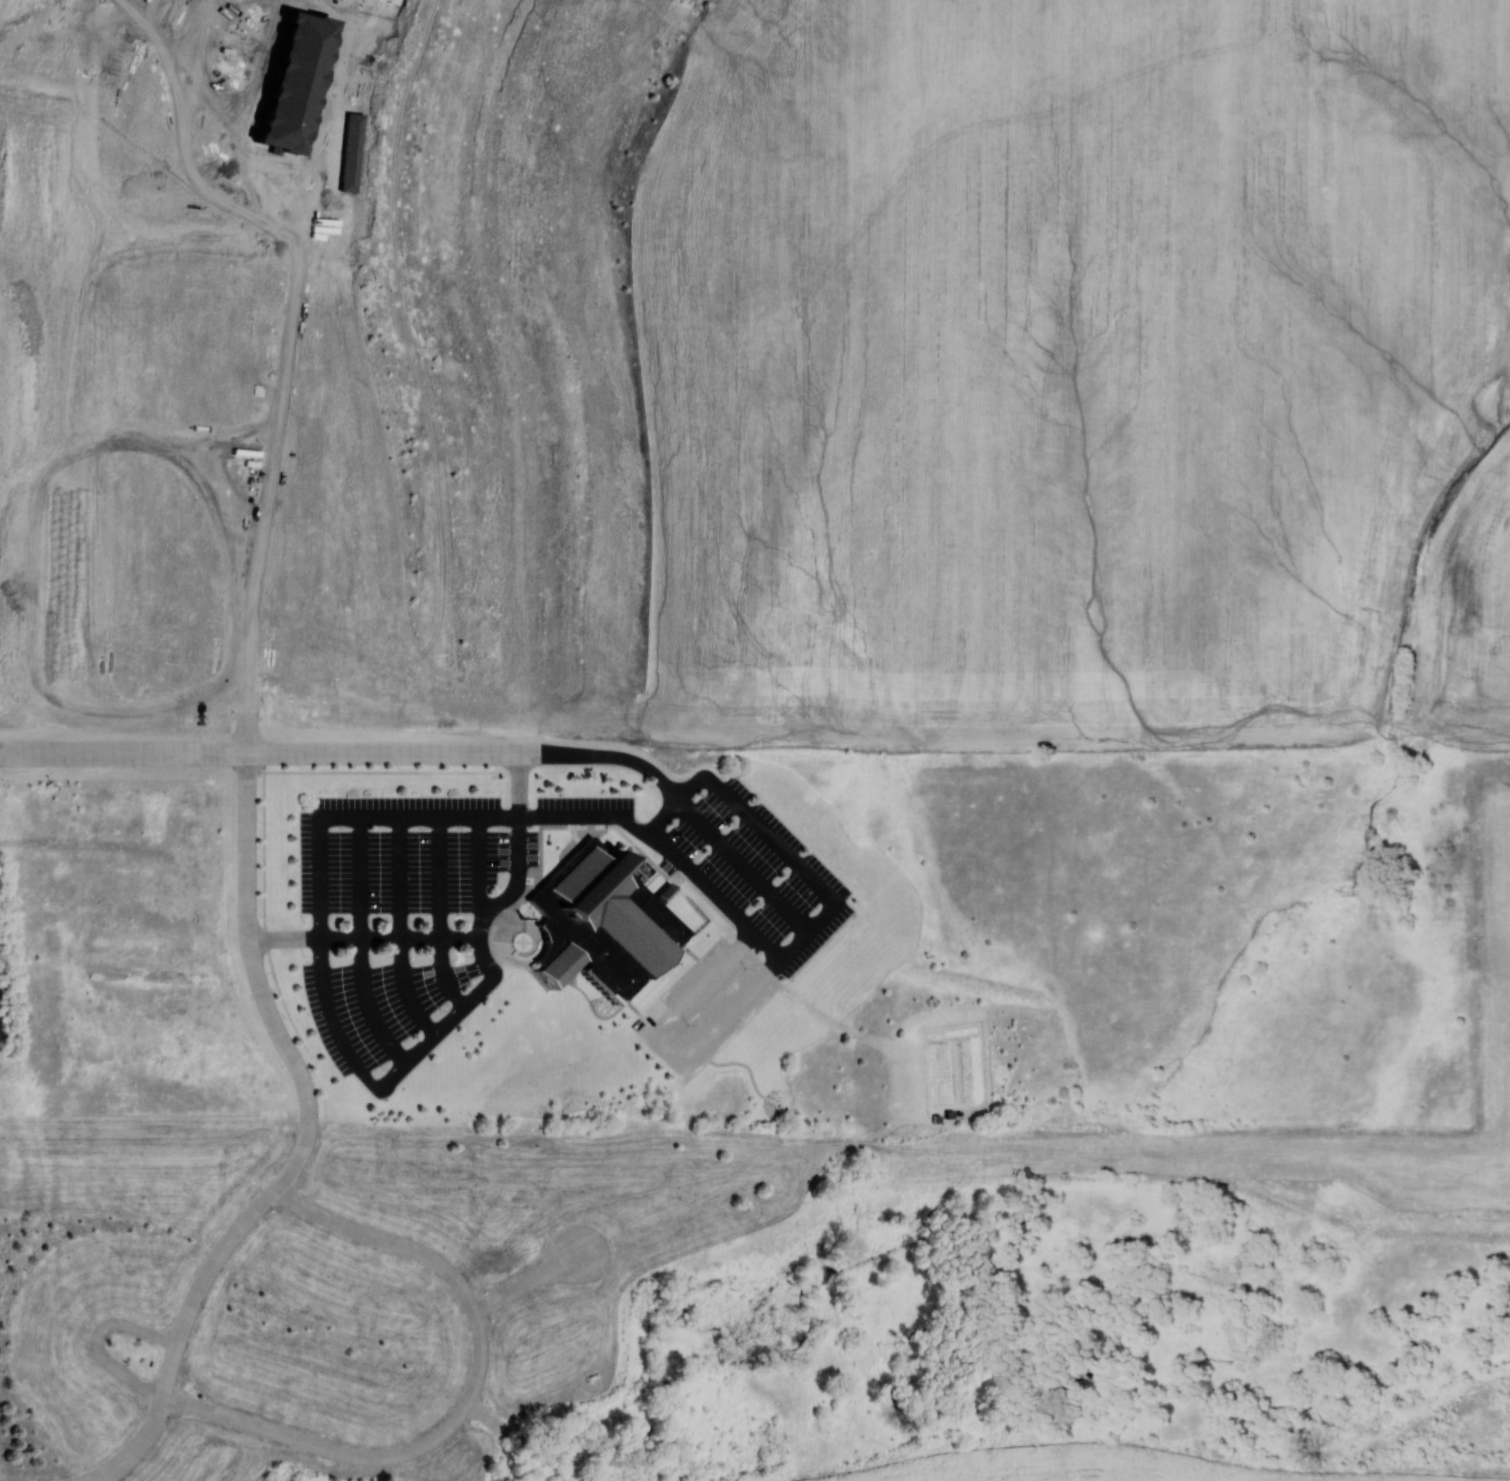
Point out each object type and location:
road: (569, 359)
road: (510, 370)
road: (248, 689)
road: (123, 751)
road: (473, 751)
road: (326, 752)
road: (617, 753)
road: (383, 771)
road: (594, 817)
road: (767, 836)
road: (479, 864)
road: (740, 866)
parking lot: (410, 895)
road: (441, 913)
parking lot: (739, 919)
building: (596, 922)
road: (403, 929)
road: (477, 936)
road: (363, 937)
road: (265, 942)
road: (250, 944)
road: (362, 944)
road: (270, 1193)
road: (429, 1256)
road: (531, 1280)
road: (94, 1338)
road: (167, 1376)
road: (489, 1418)
road: (321, 1446)

